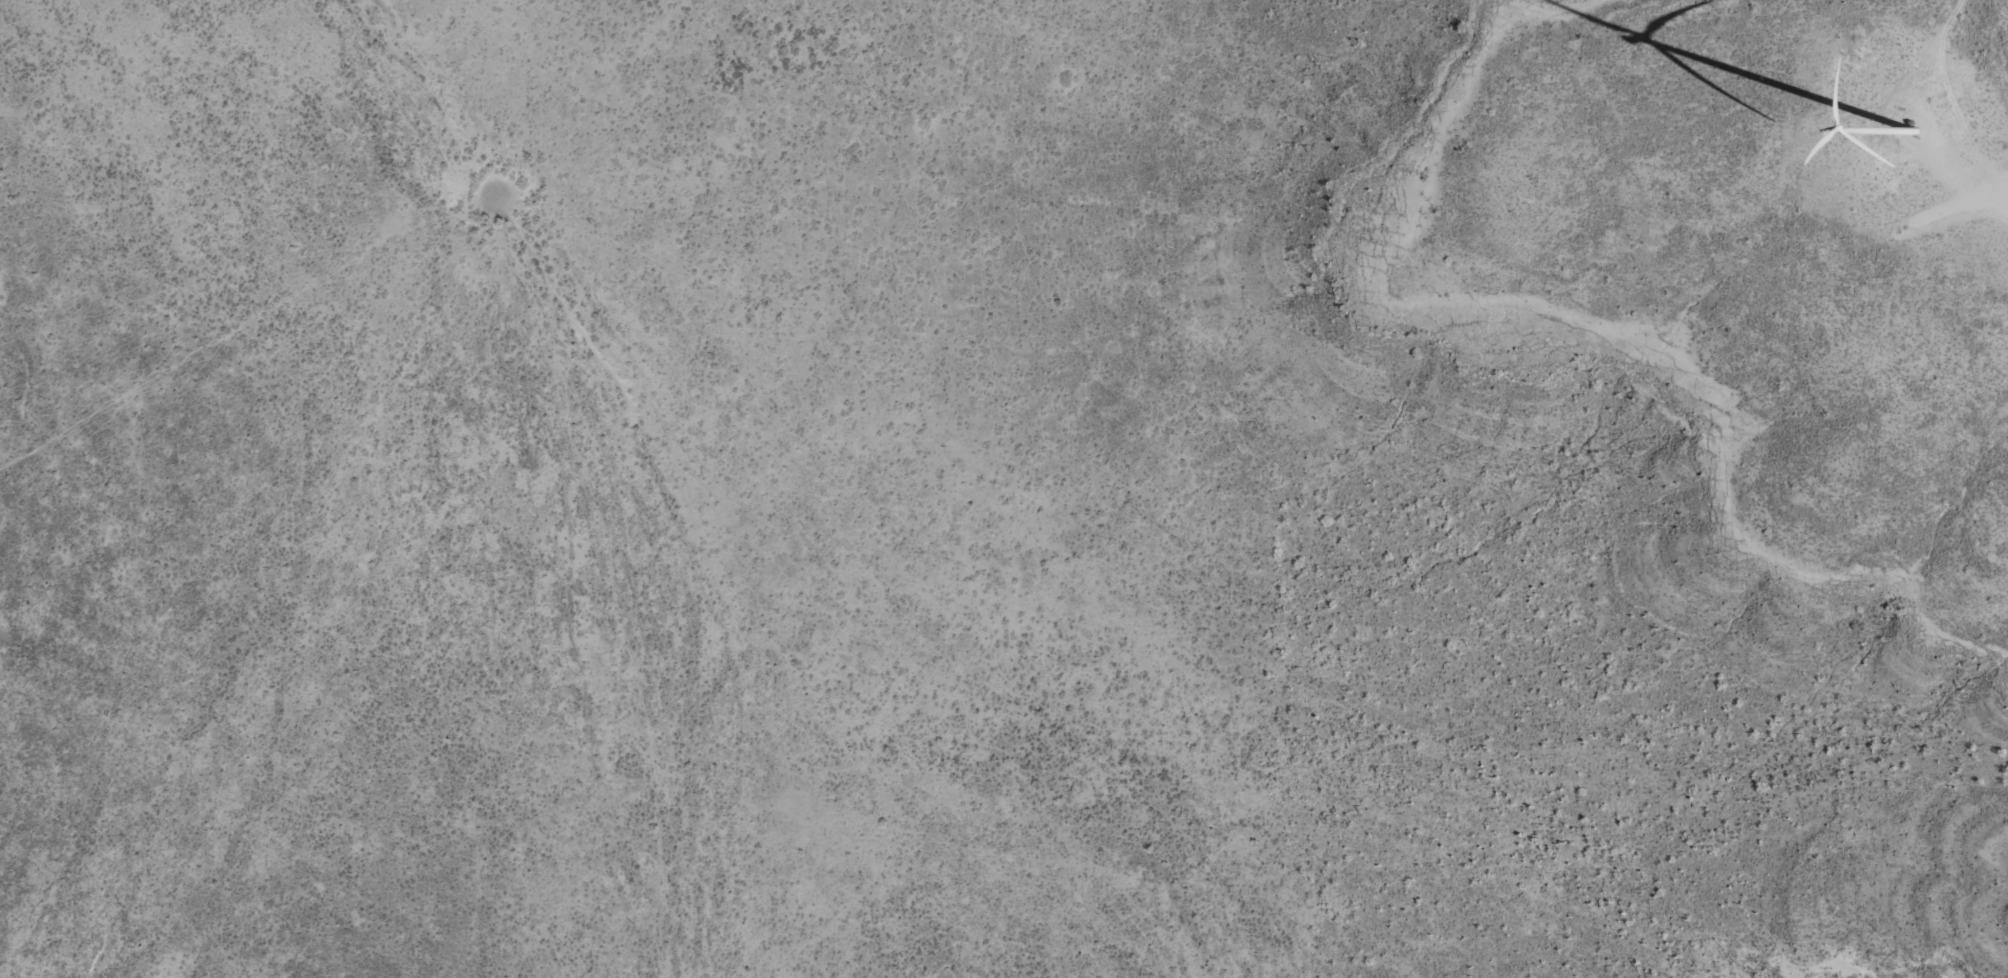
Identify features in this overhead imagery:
wind turbine: (1909, 133)

